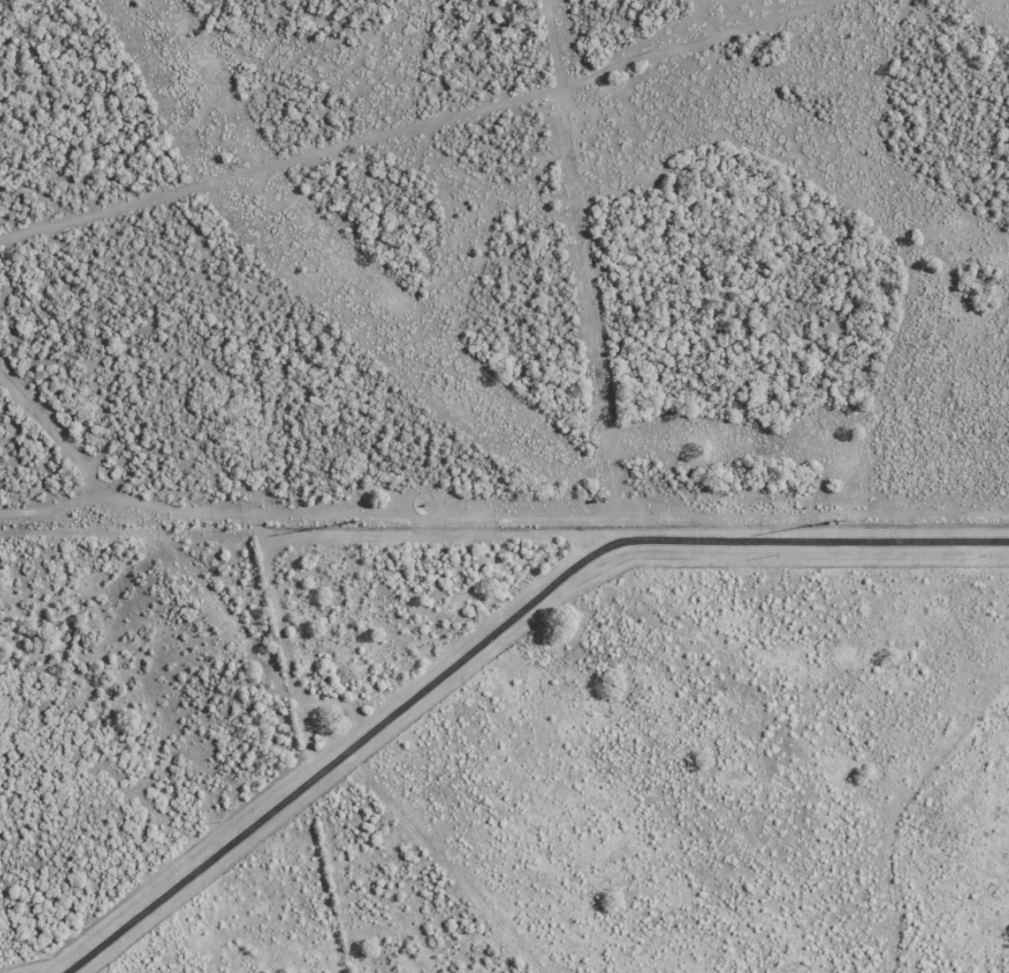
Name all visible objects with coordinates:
power tower: (354, 522)
power tower: (838, 522)
road: (494, 633)

